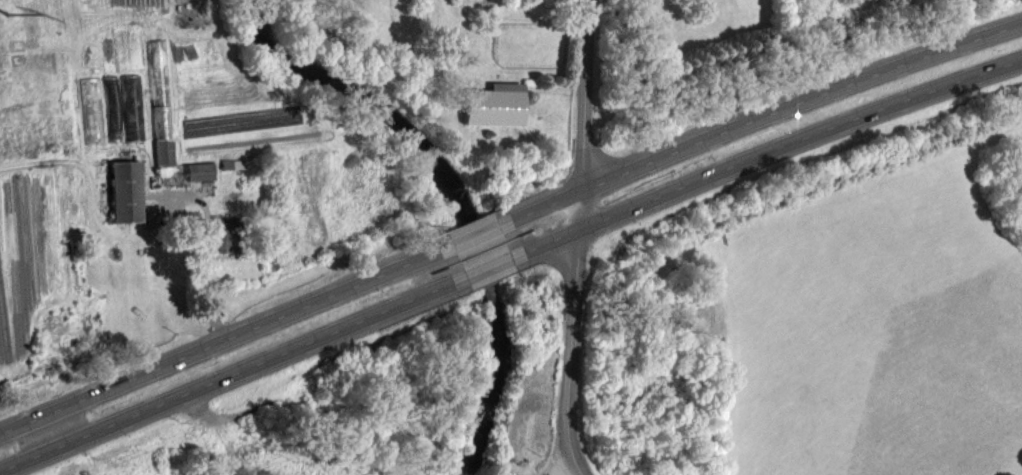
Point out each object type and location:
power tower: (7, 14)
building: (166, 88)
road: (583, 95)
road: (764, 116)
building: (502, 119)
road: (770, 150)
building: (208, 186)
building: (134, 207)
road: (577, 210)
road: (473, 233)
building: (231, 248)
road: (486, 264)
road: (218, 333)
road: (572, 354)
road: (225, 375)

